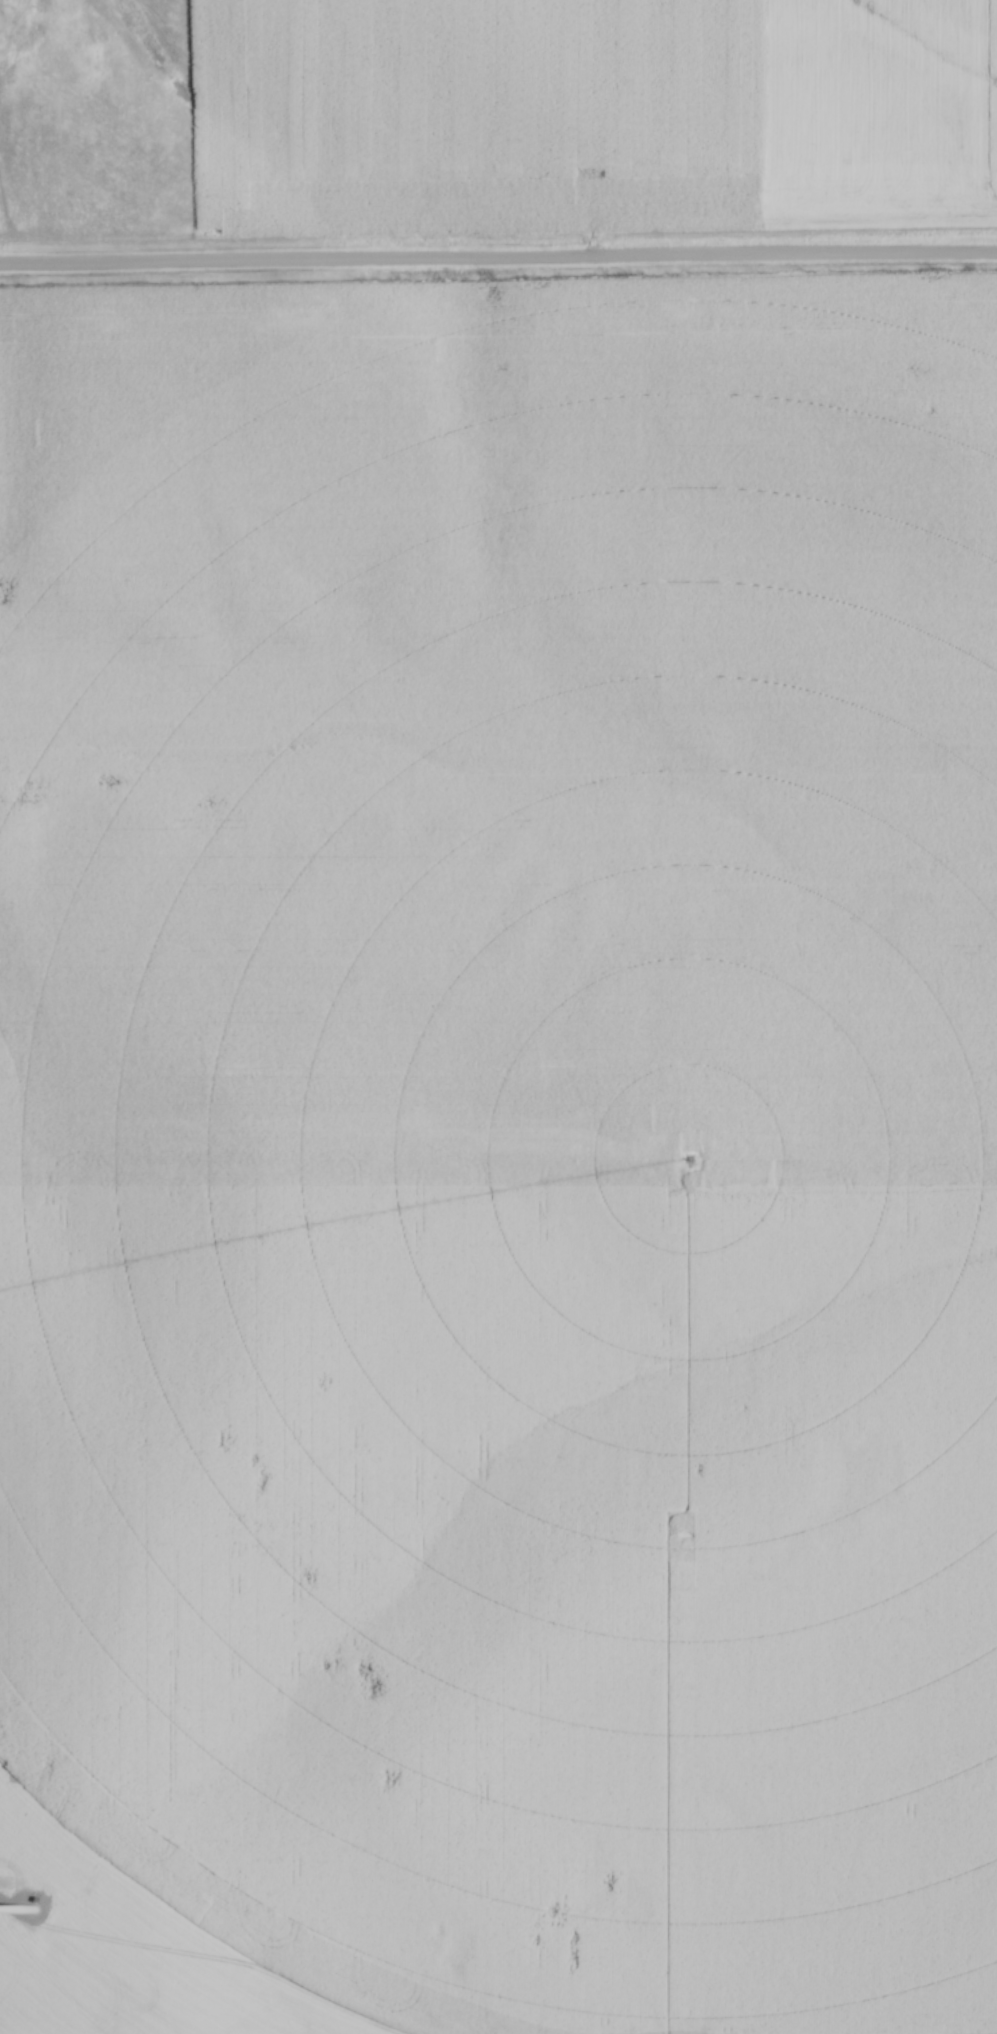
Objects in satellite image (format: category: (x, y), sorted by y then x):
building: (102, 6)
road: (498, 263)
wind turbine: (34, 1908)

